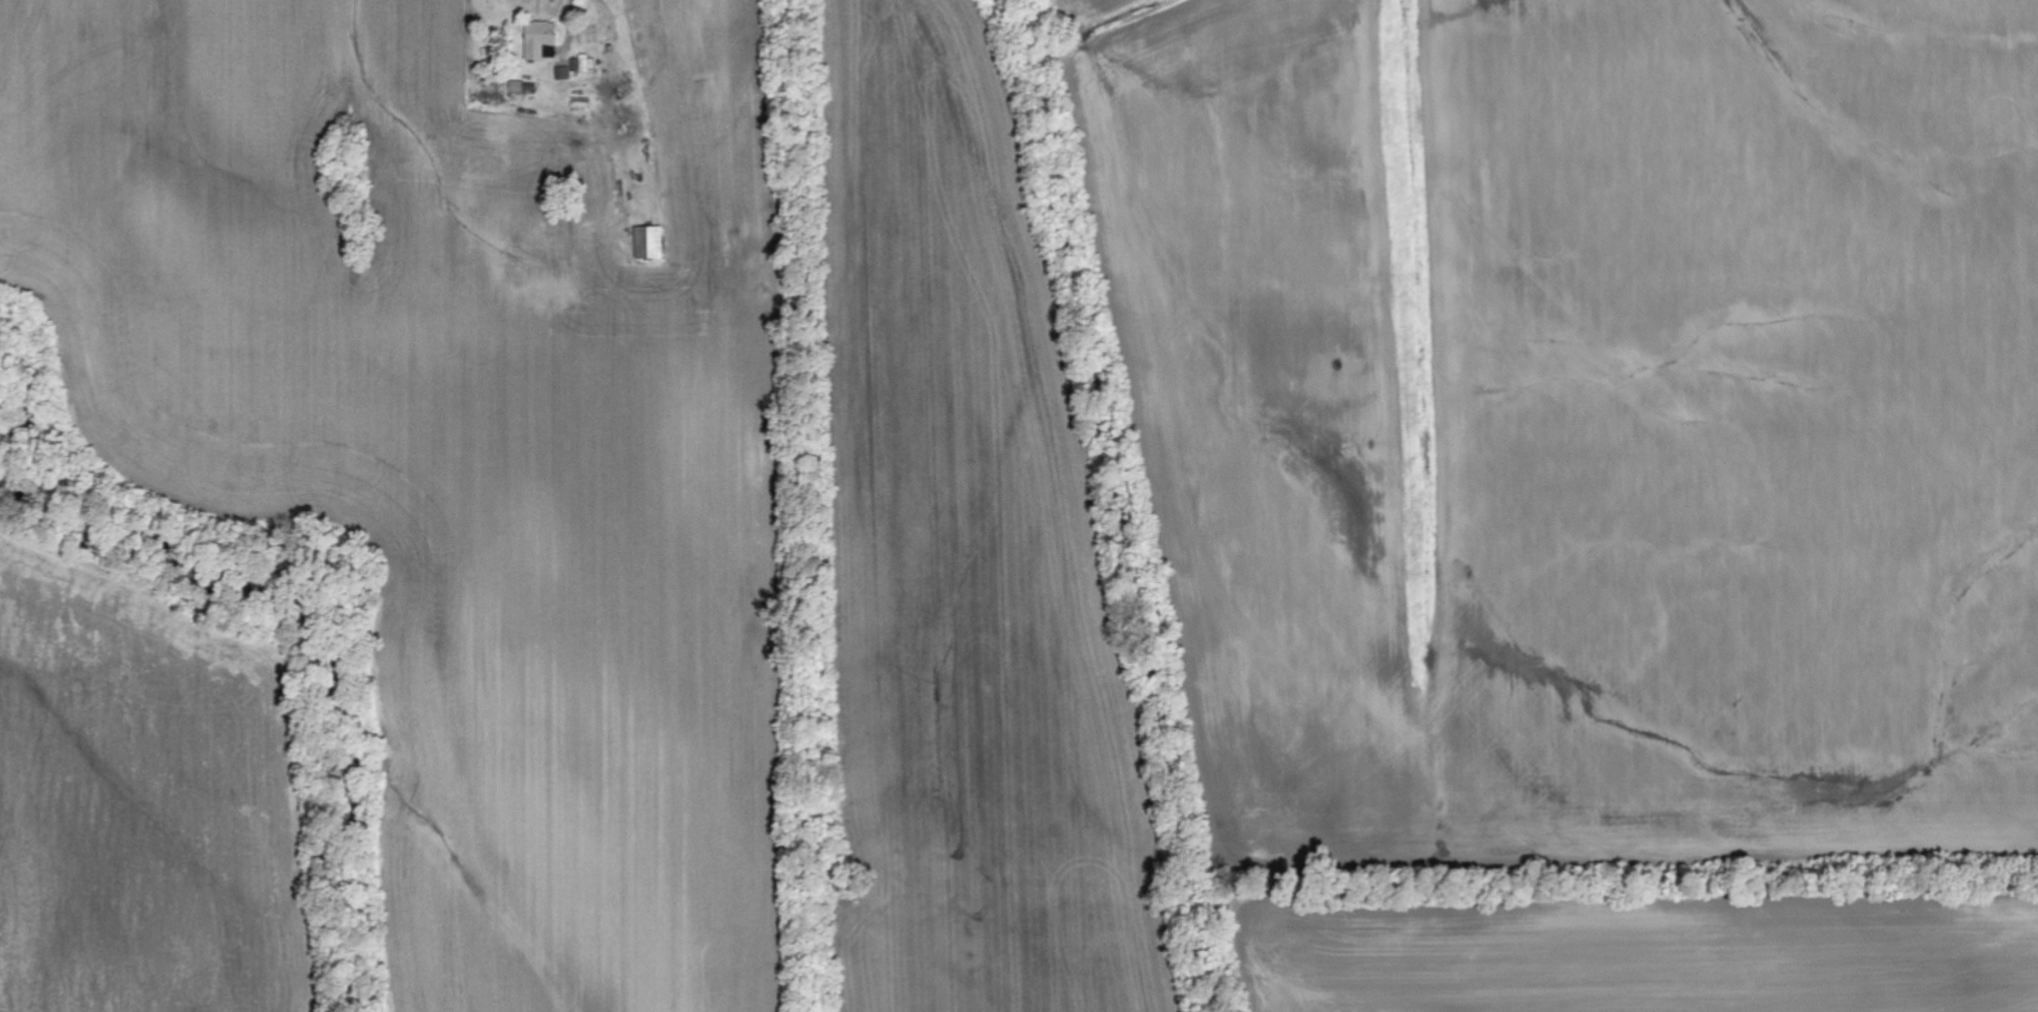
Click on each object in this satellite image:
building: (542, 40)

